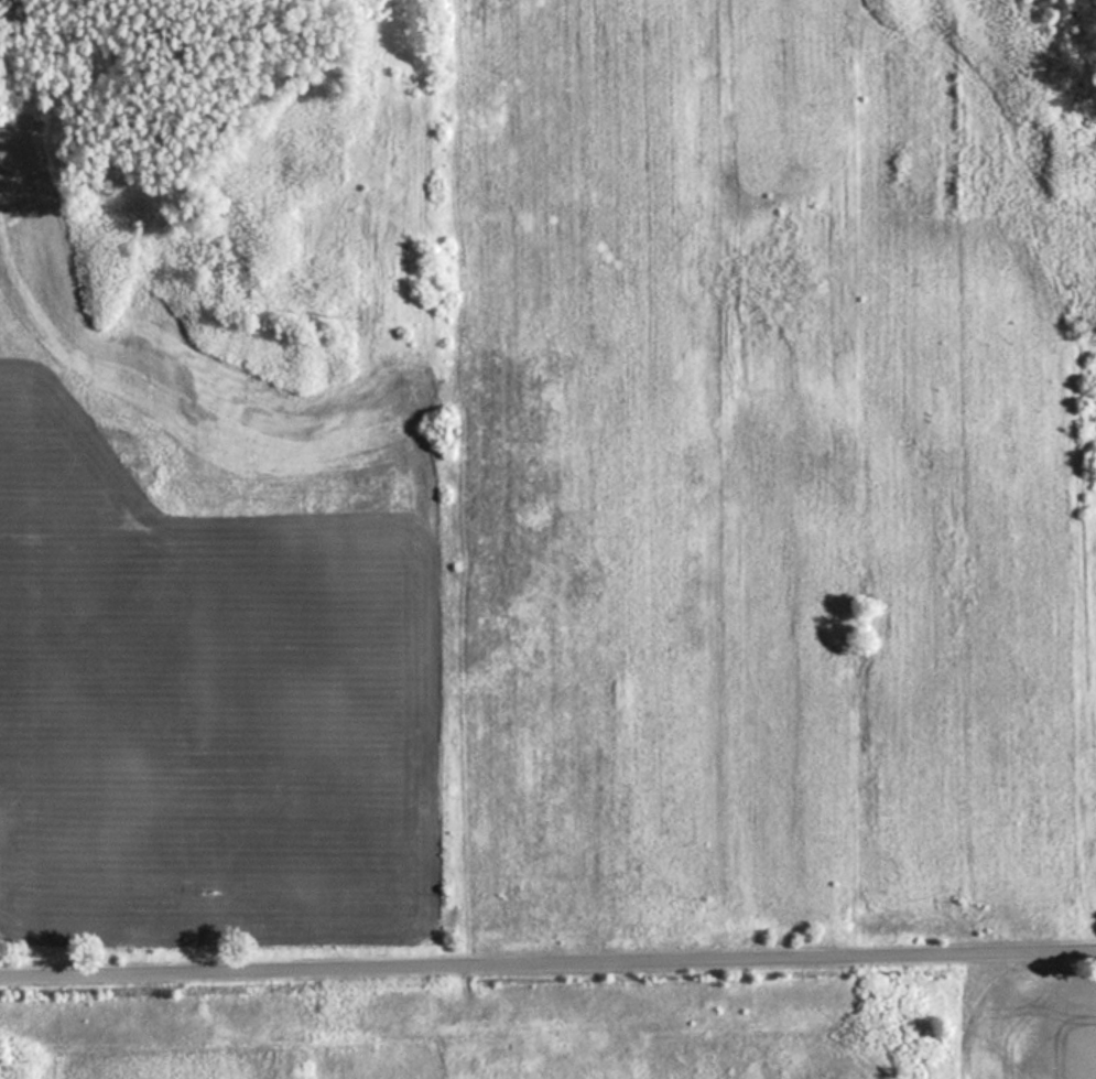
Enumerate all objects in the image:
road: (547, 962)

